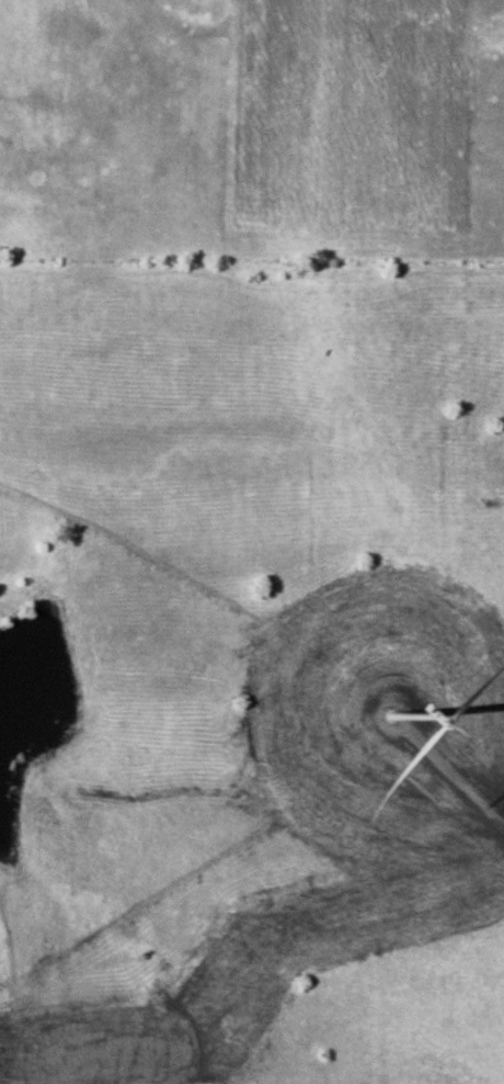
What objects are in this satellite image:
wind turbine: (390, 719)

